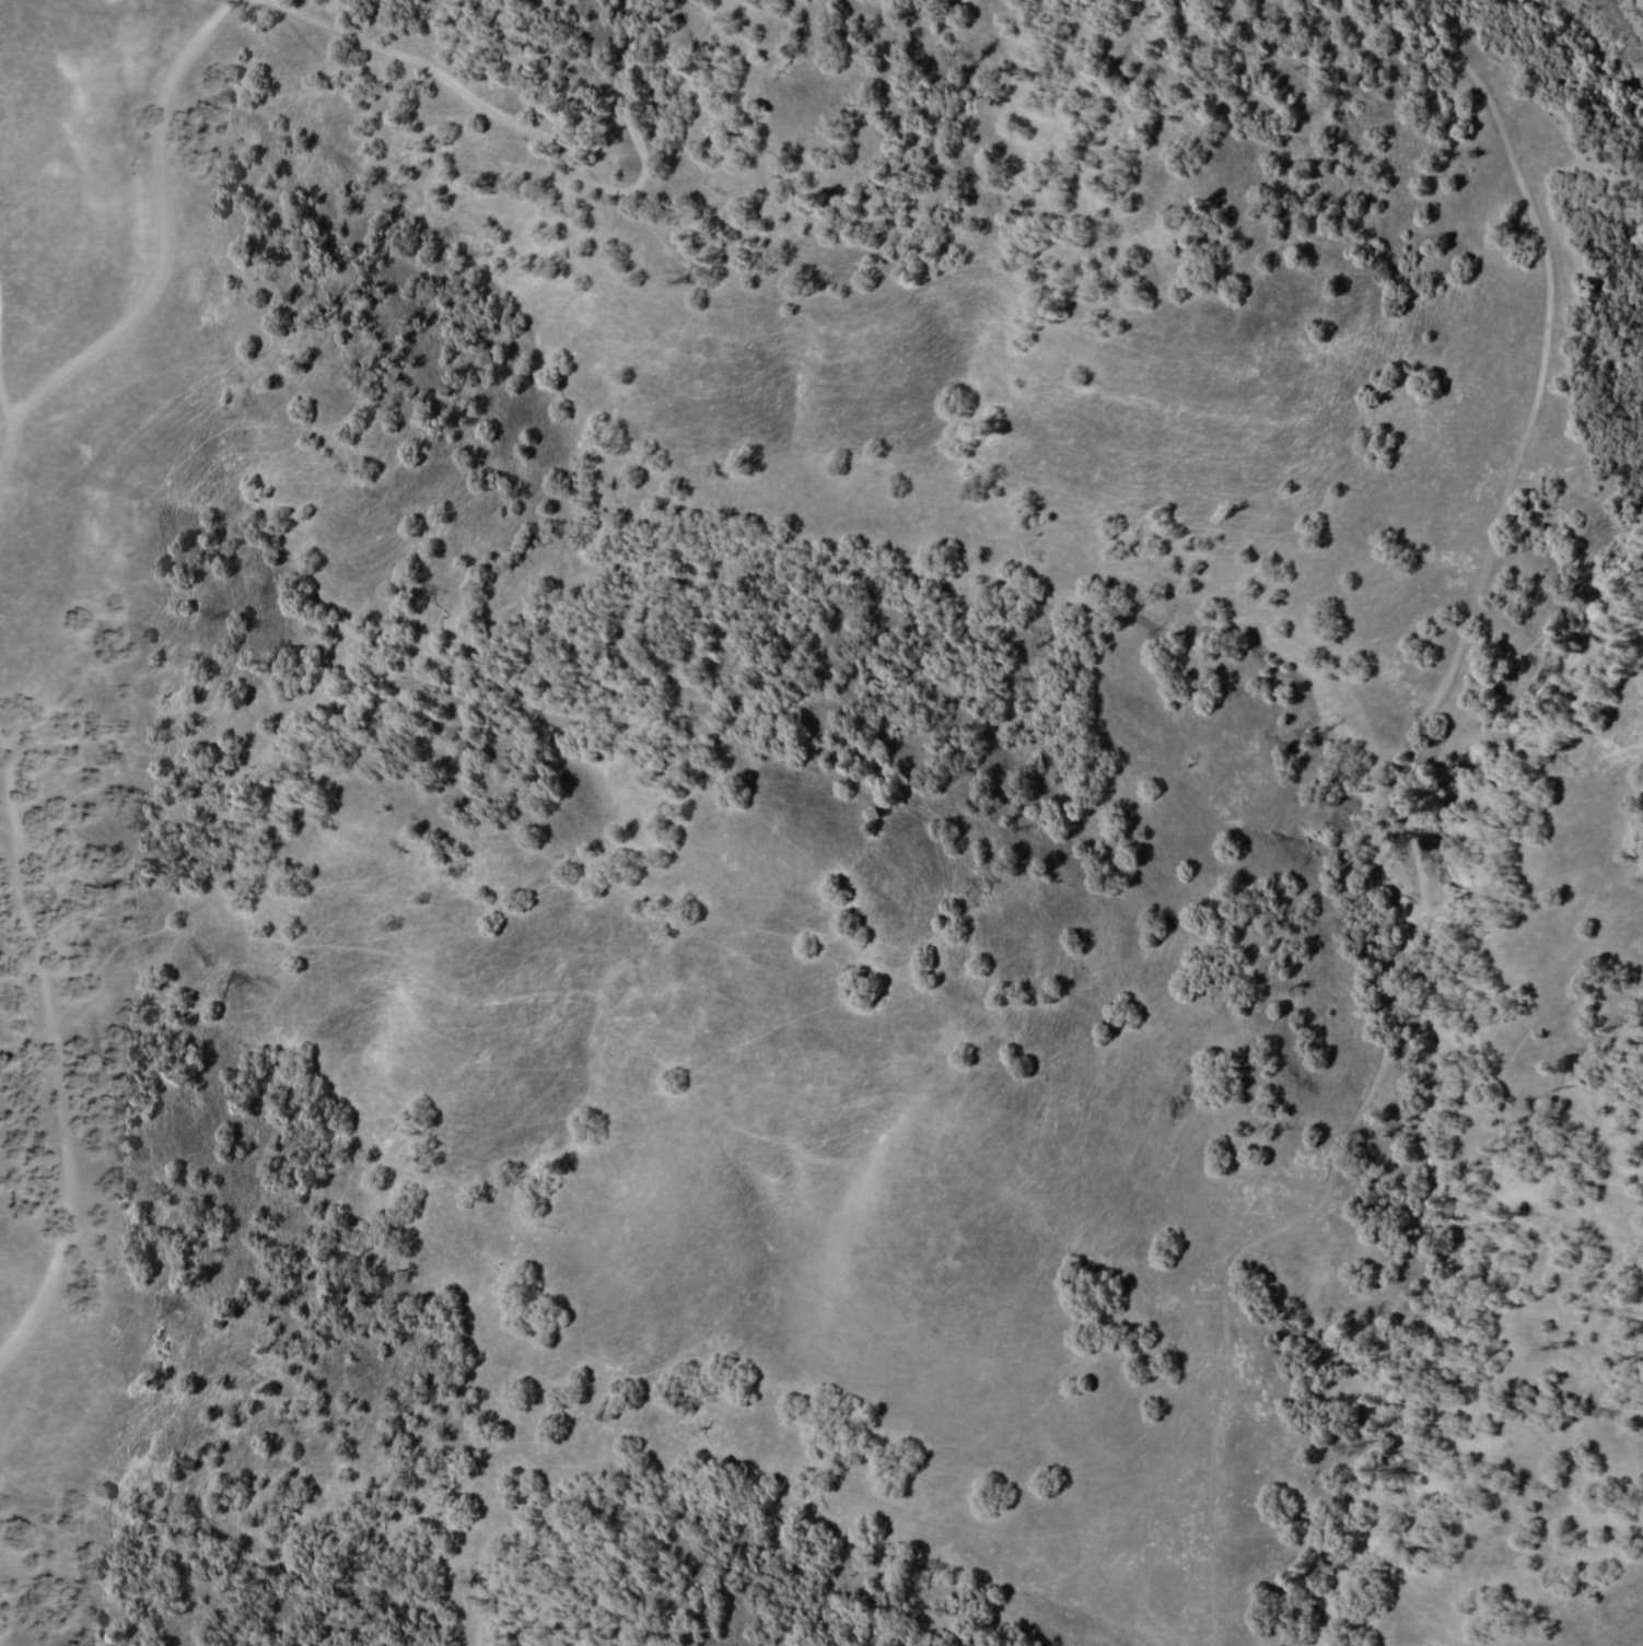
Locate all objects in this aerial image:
road: (559, 82)
road: (70, 655)
road: (11, 1623)

